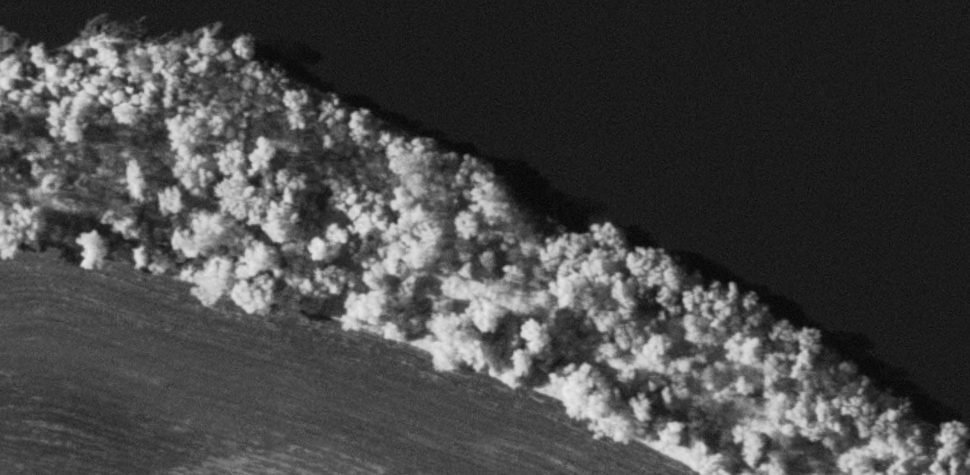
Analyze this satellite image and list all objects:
river: (902, 29)

